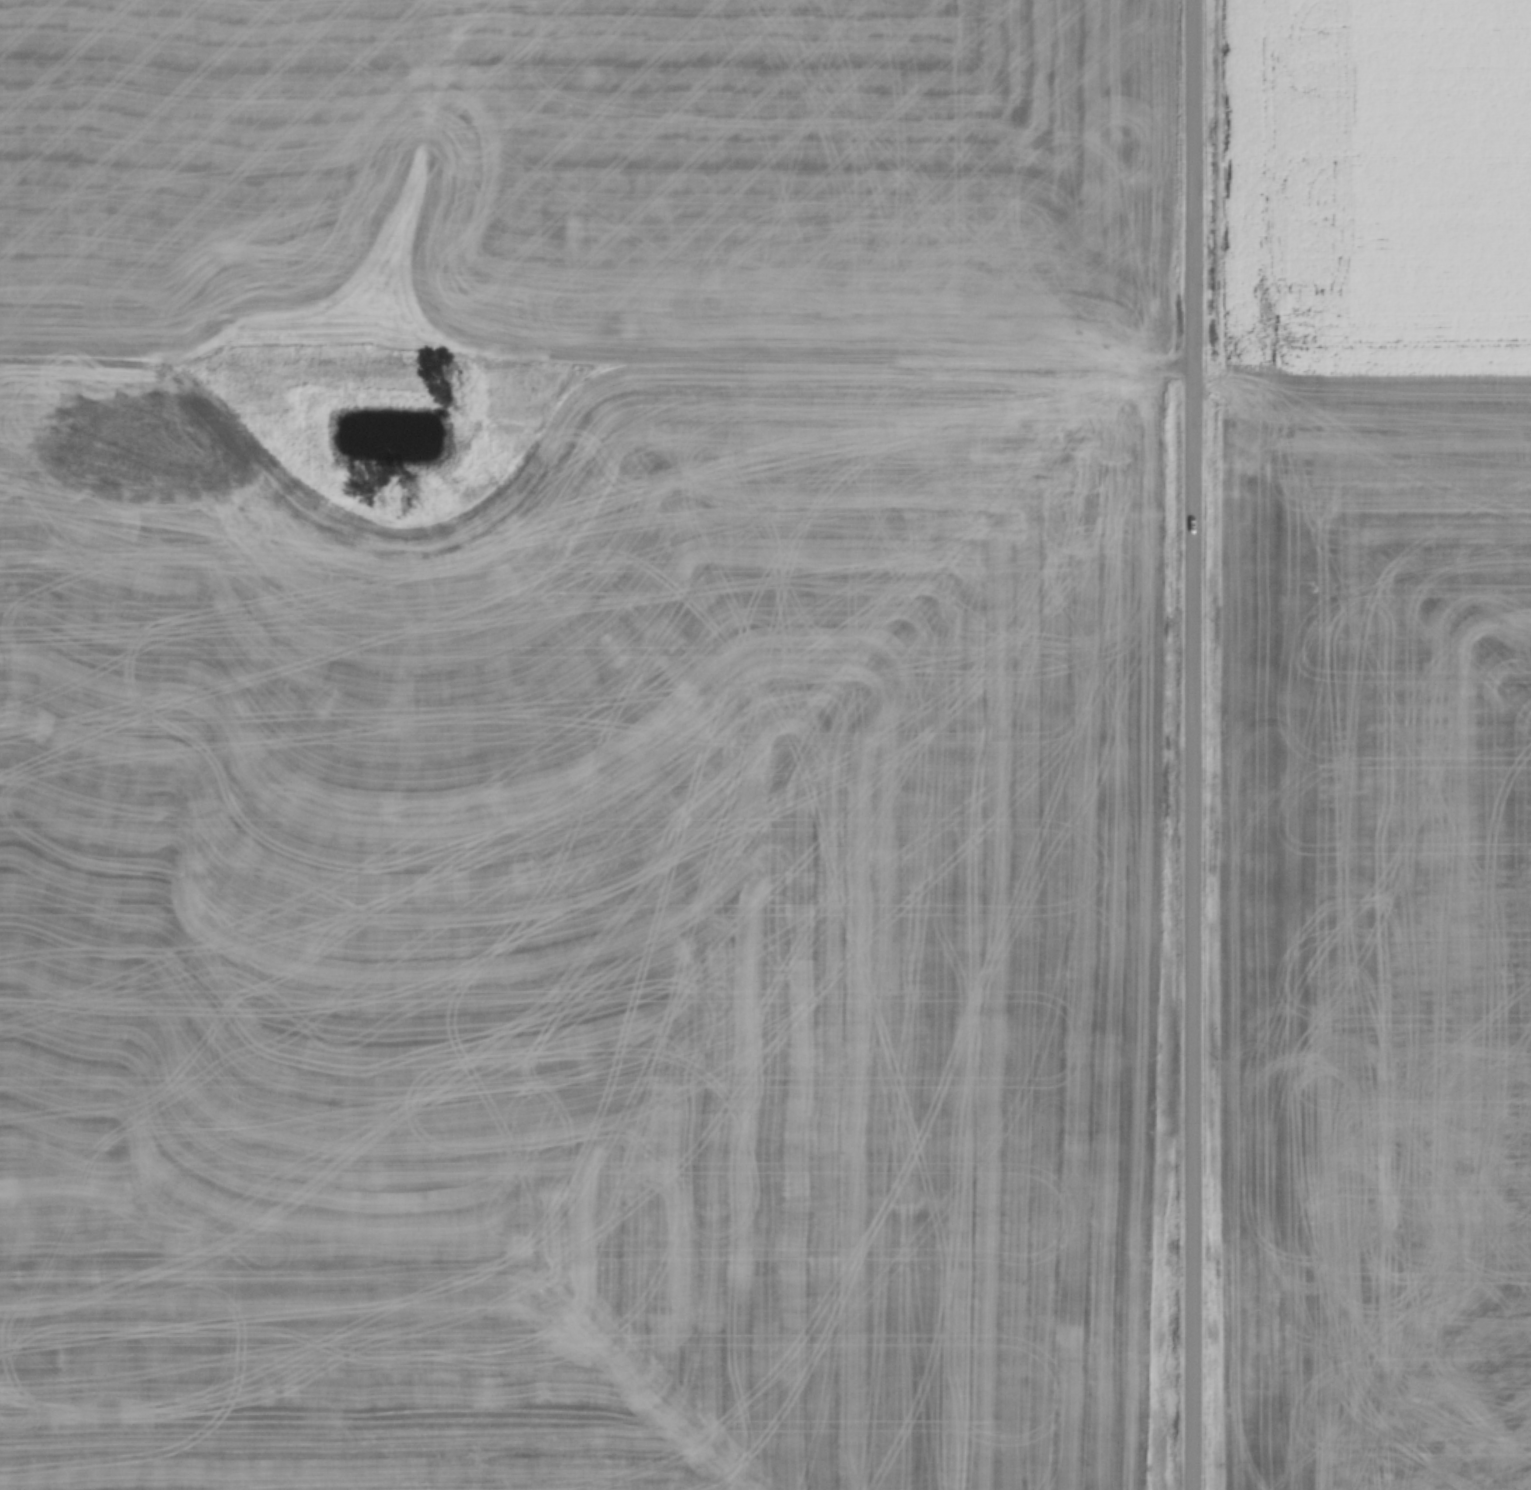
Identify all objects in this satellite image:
road: (1189, 745)

